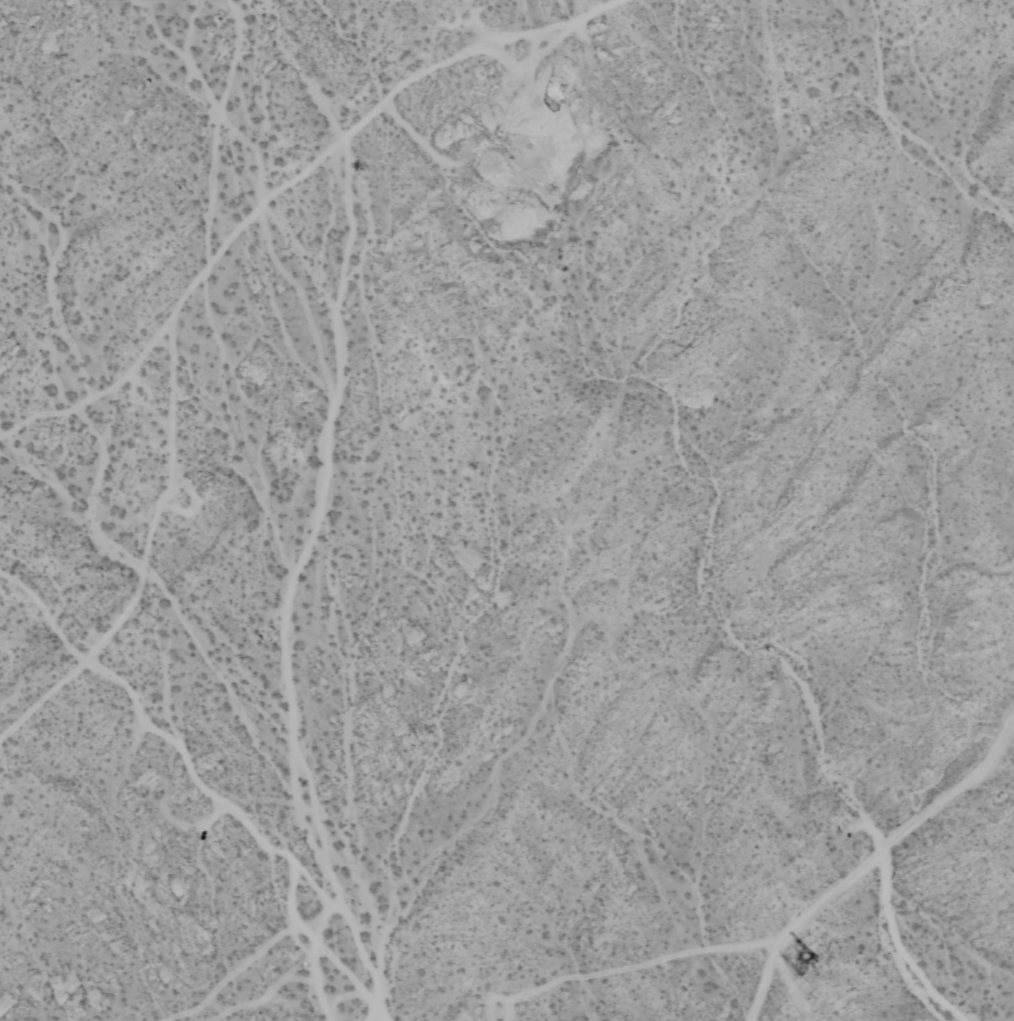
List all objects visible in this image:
power tower: (814, 963)

